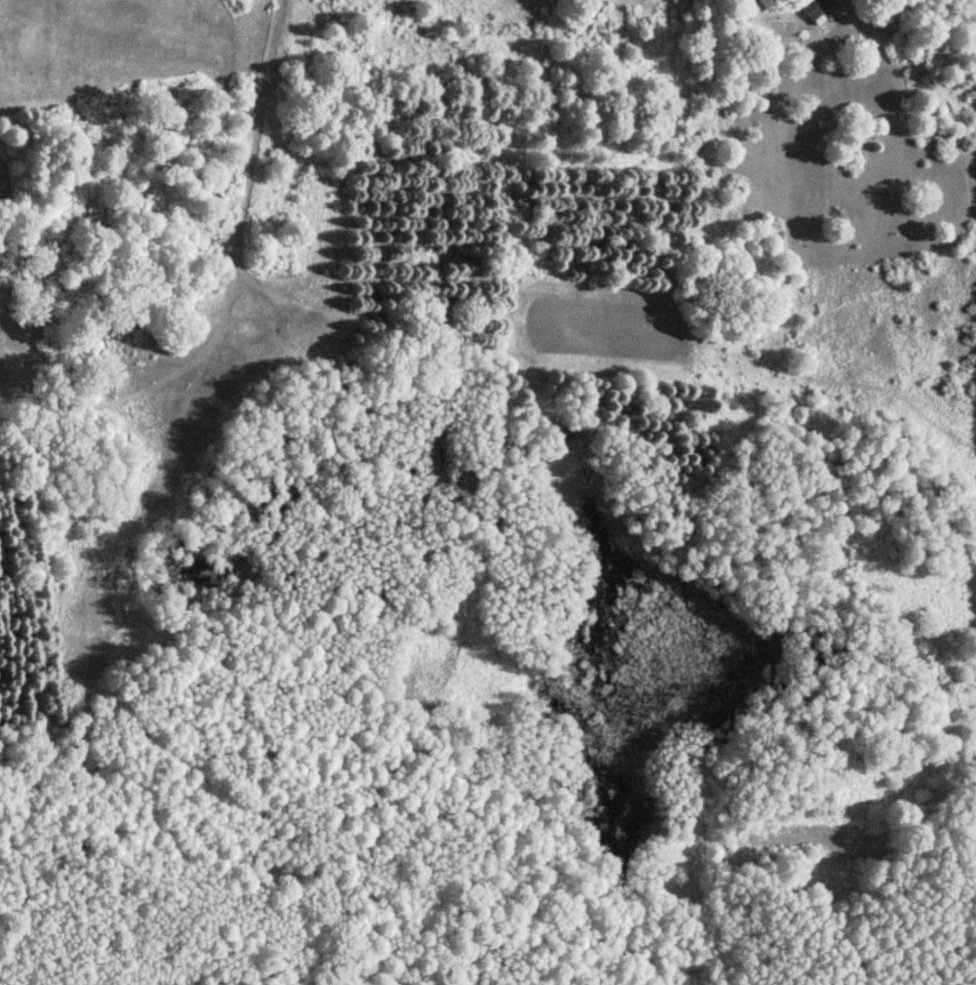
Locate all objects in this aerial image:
building: (812, 7)
road: (240, 182)

